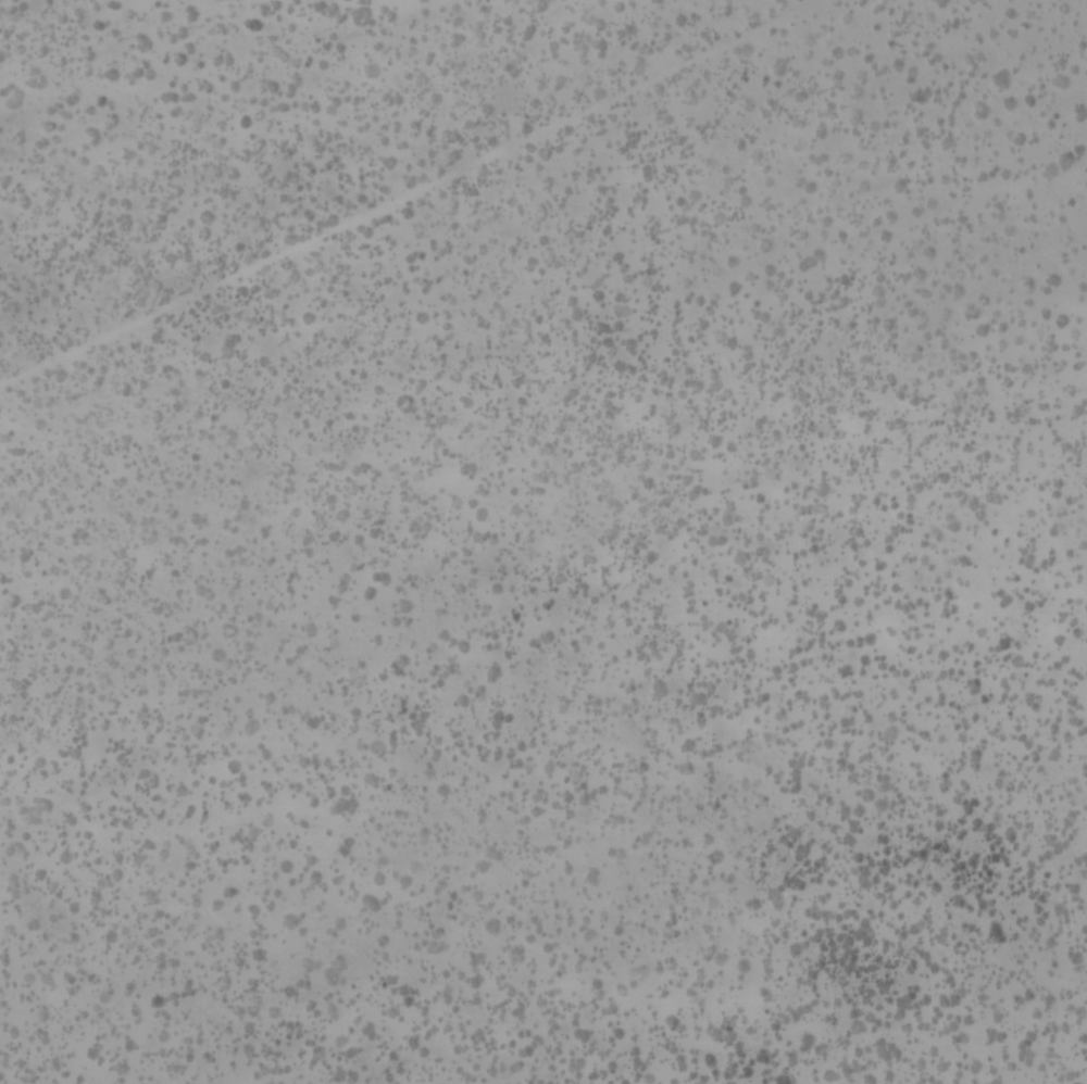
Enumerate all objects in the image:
road: (408, 191)

